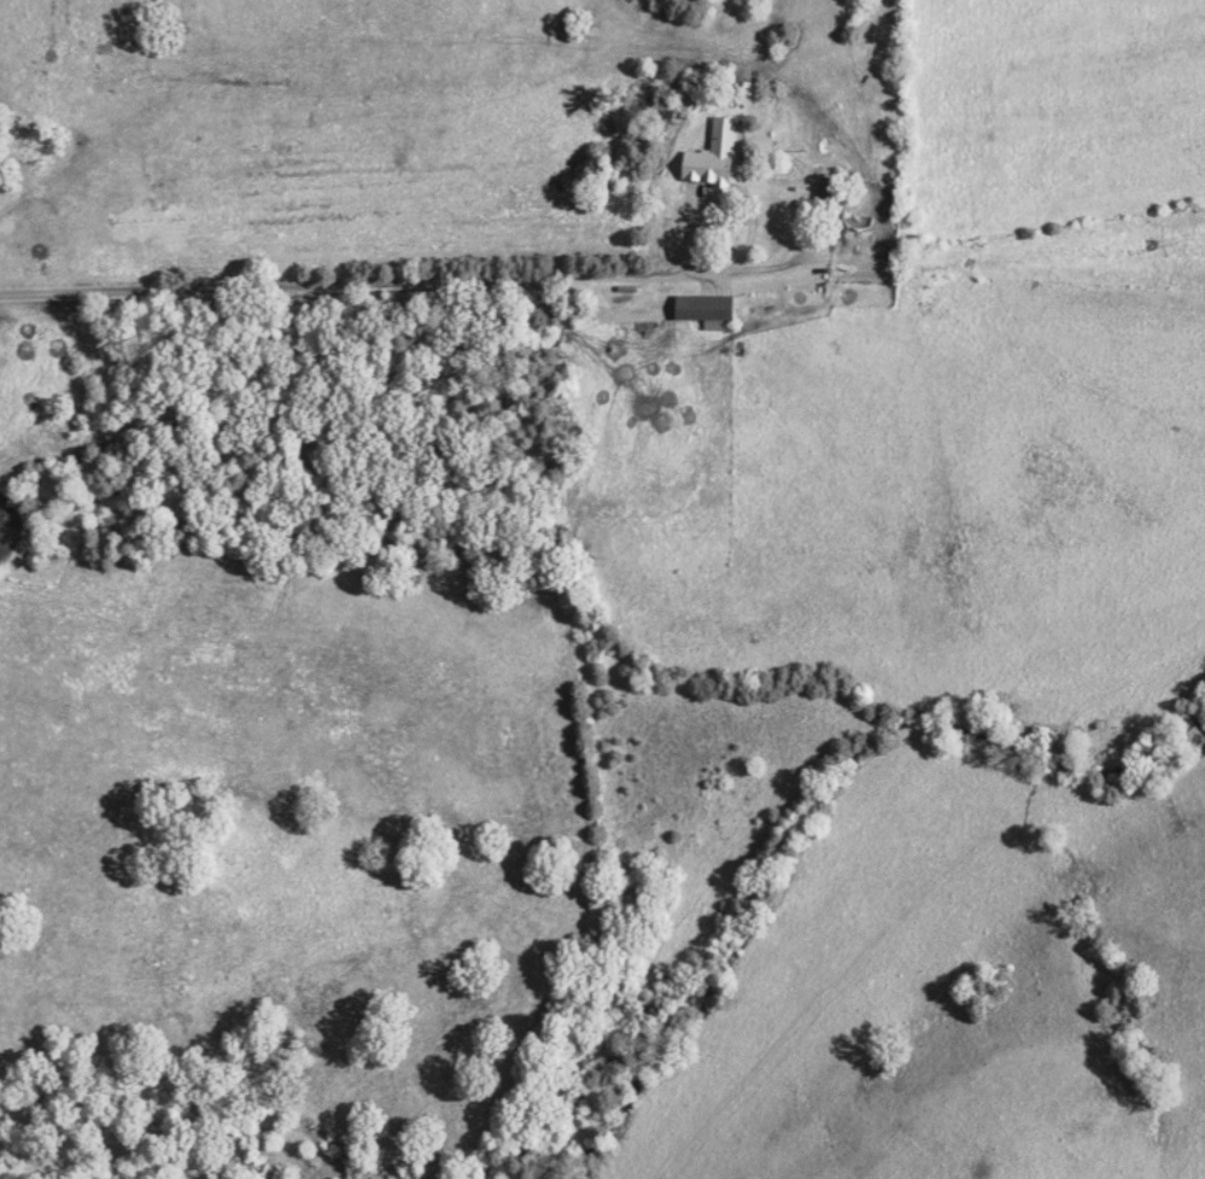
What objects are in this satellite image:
building: (712, 157)
road: (714, 186)
road: (936, 243)
road: (350, 282)

